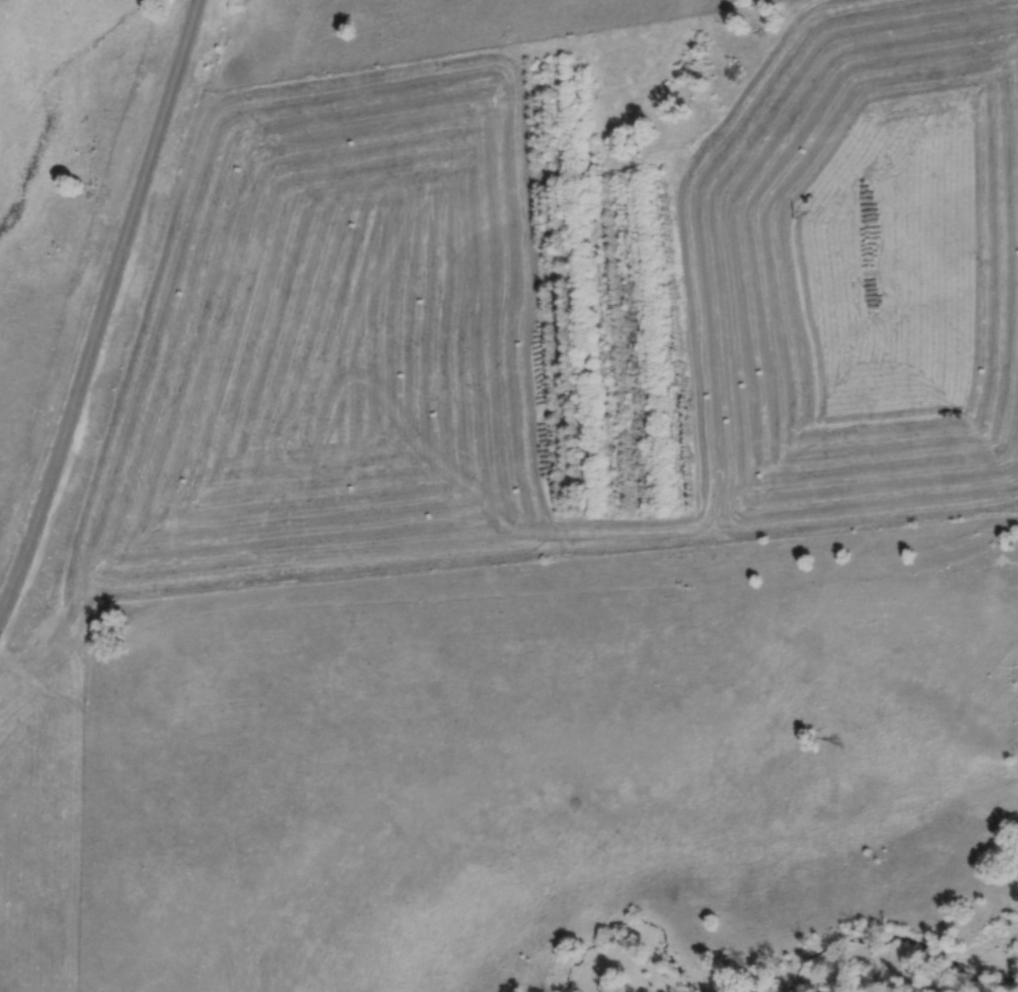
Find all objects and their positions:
road: (93, 294)

